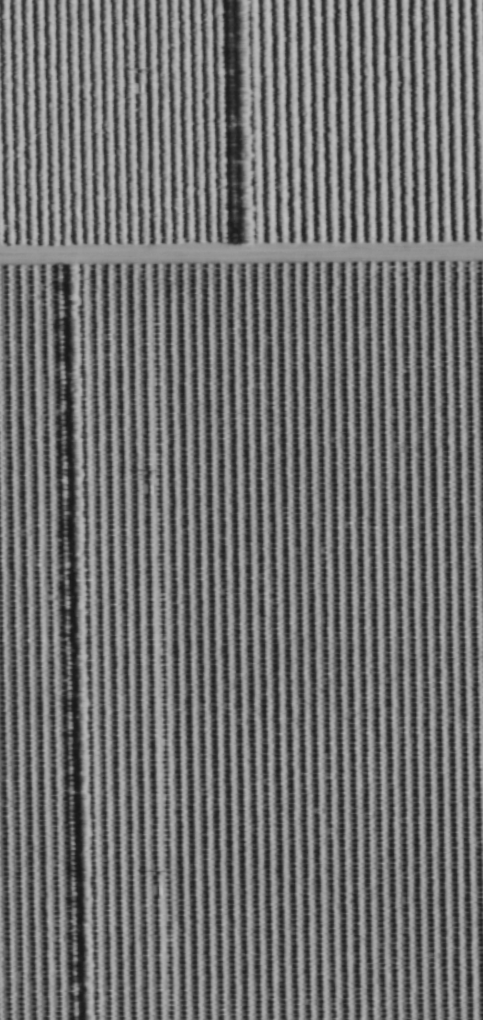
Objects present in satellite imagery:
crop: (241, 510)

